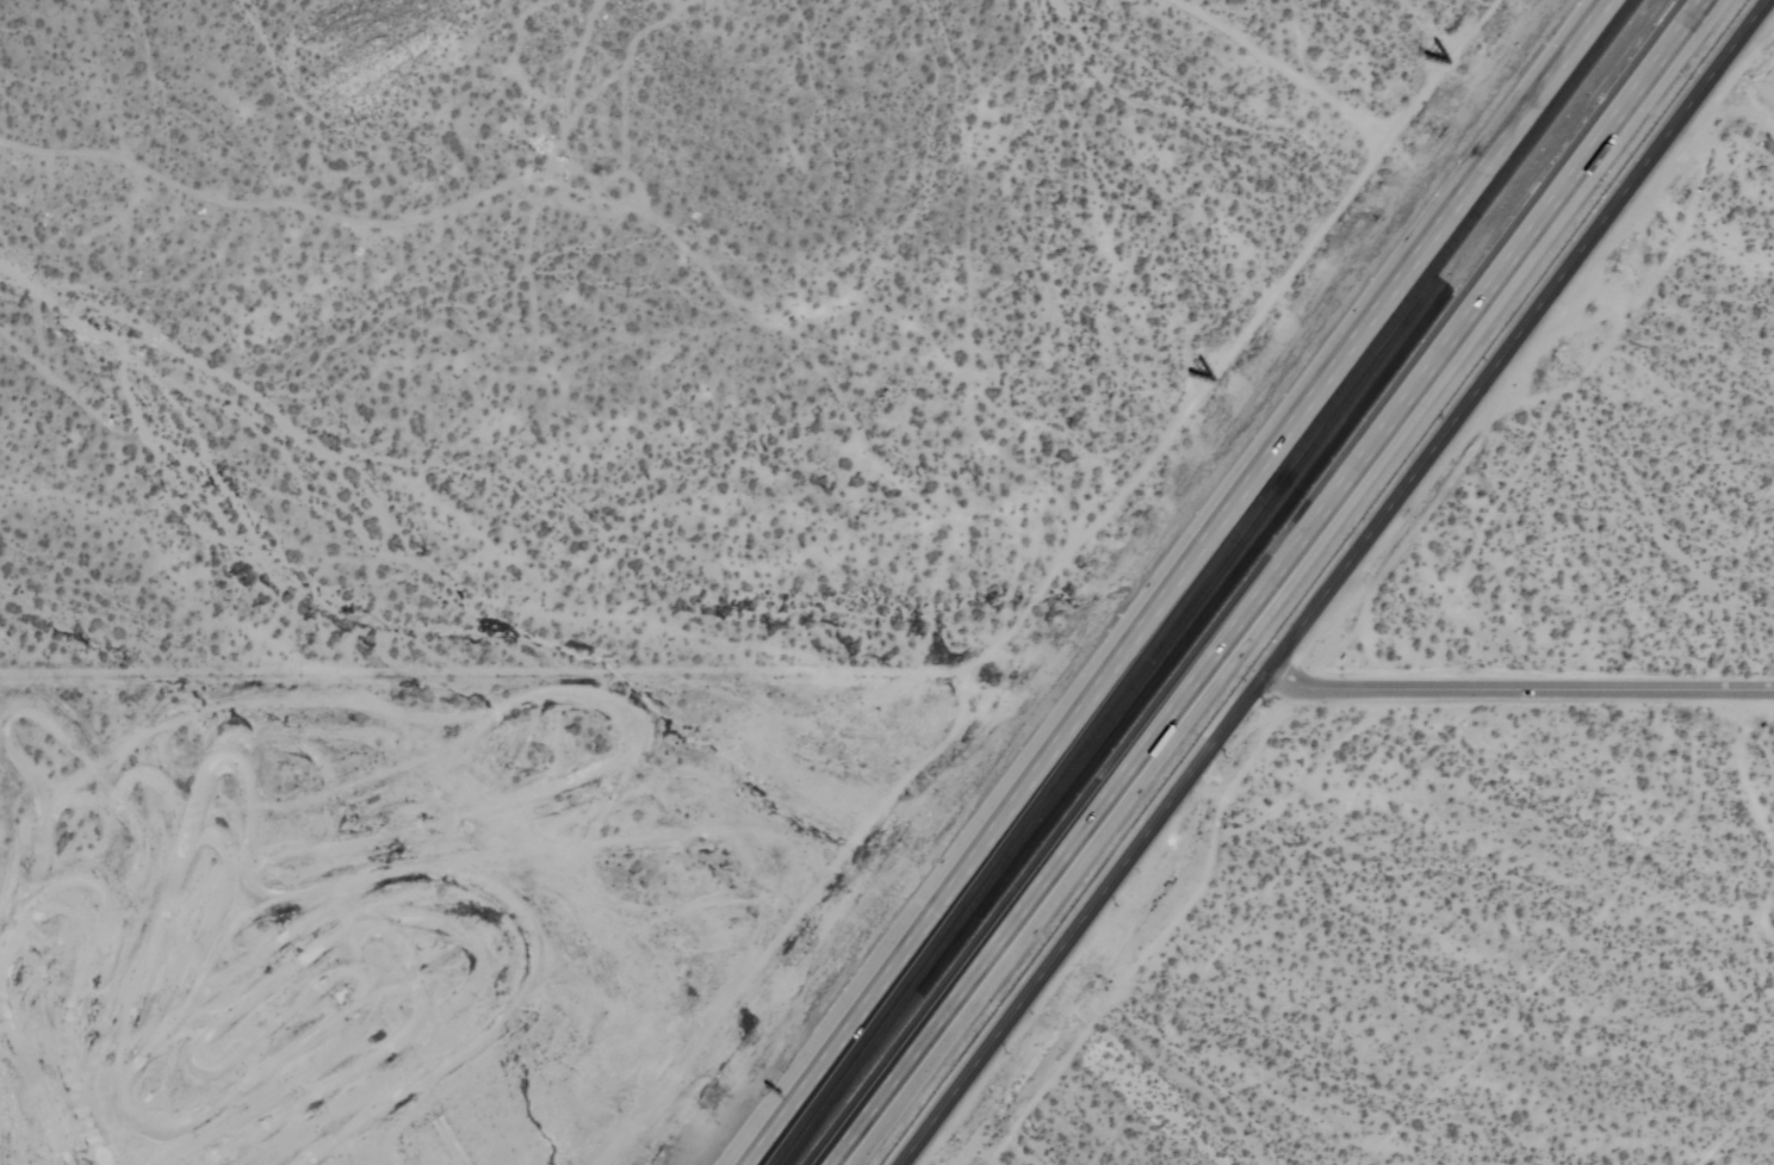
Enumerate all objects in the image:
road: (1187, 582)
railway: (1224, 582)
road: (1253, 582)
road: (1334, 583)
road: (1519, 689)

